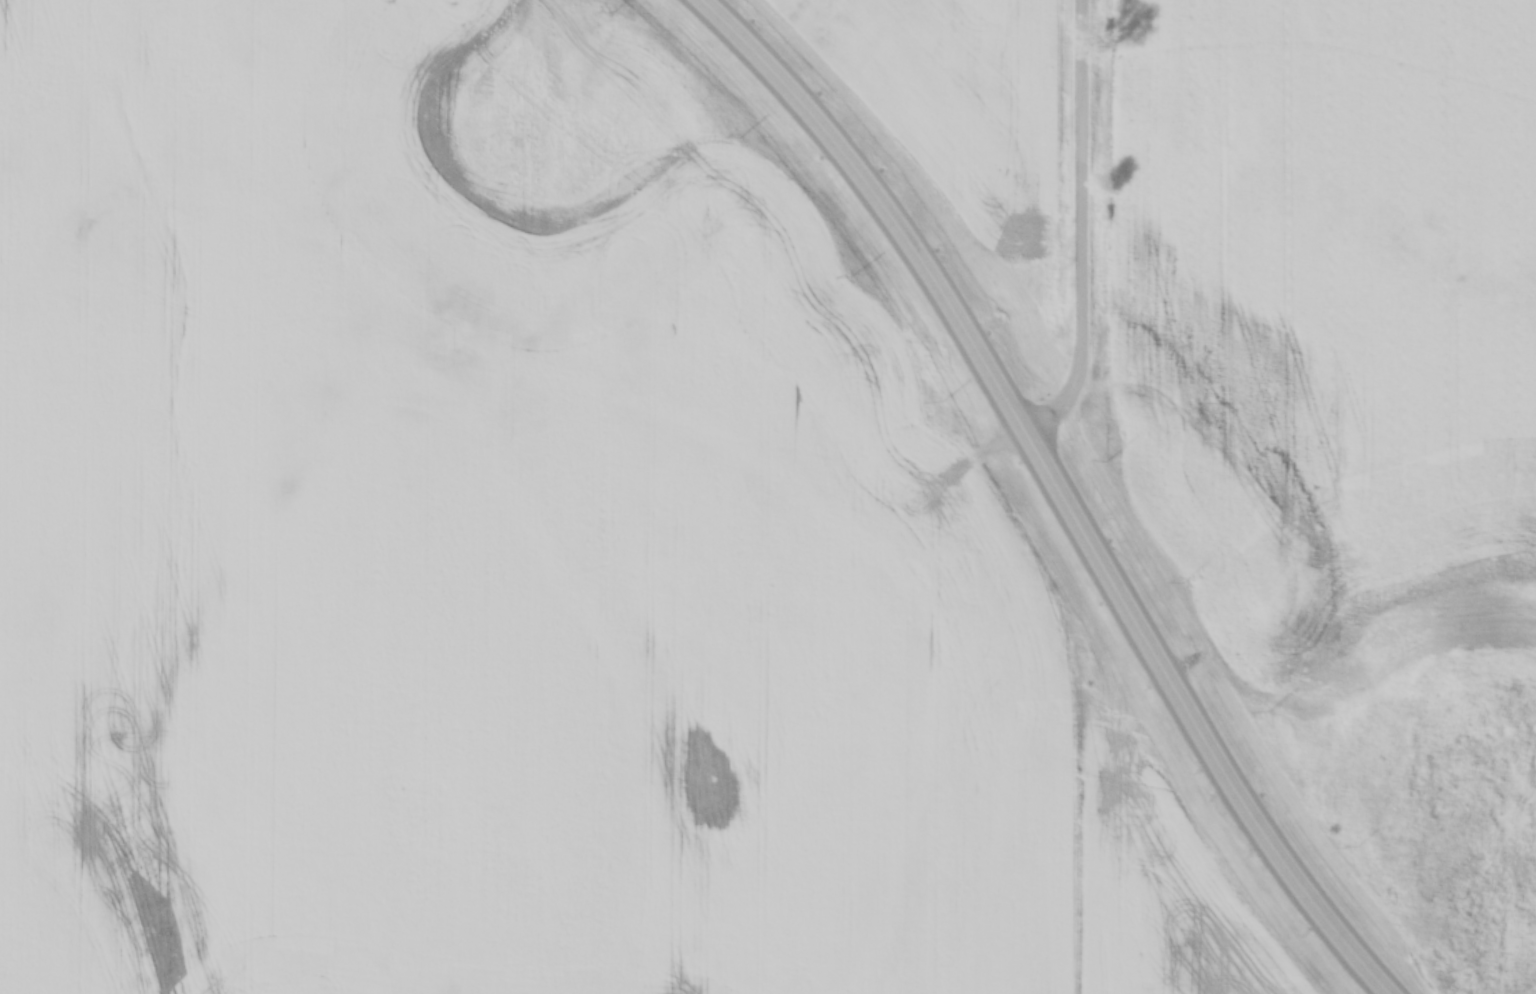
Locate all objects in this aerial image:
road: (1084, 231)
road: (1052, 486)

